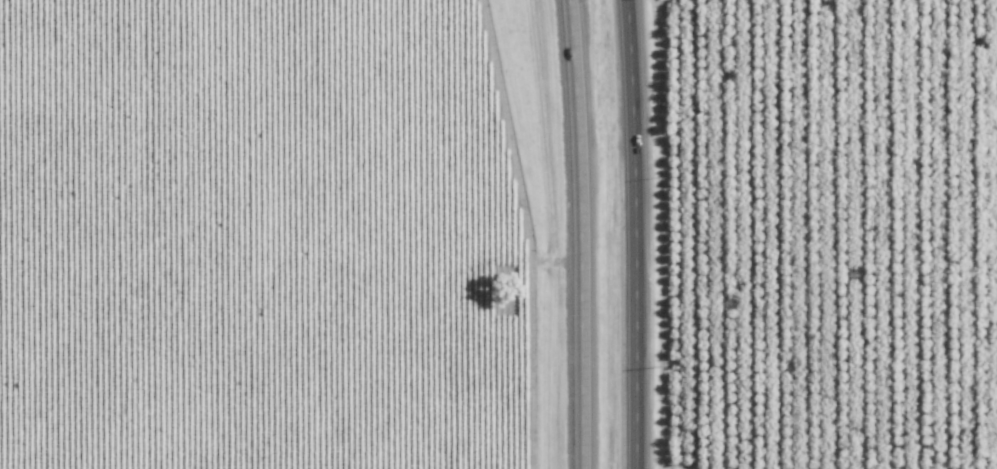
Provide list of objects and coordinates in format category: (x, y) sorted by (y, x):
road: (585, 234)
road: (648, 234)

